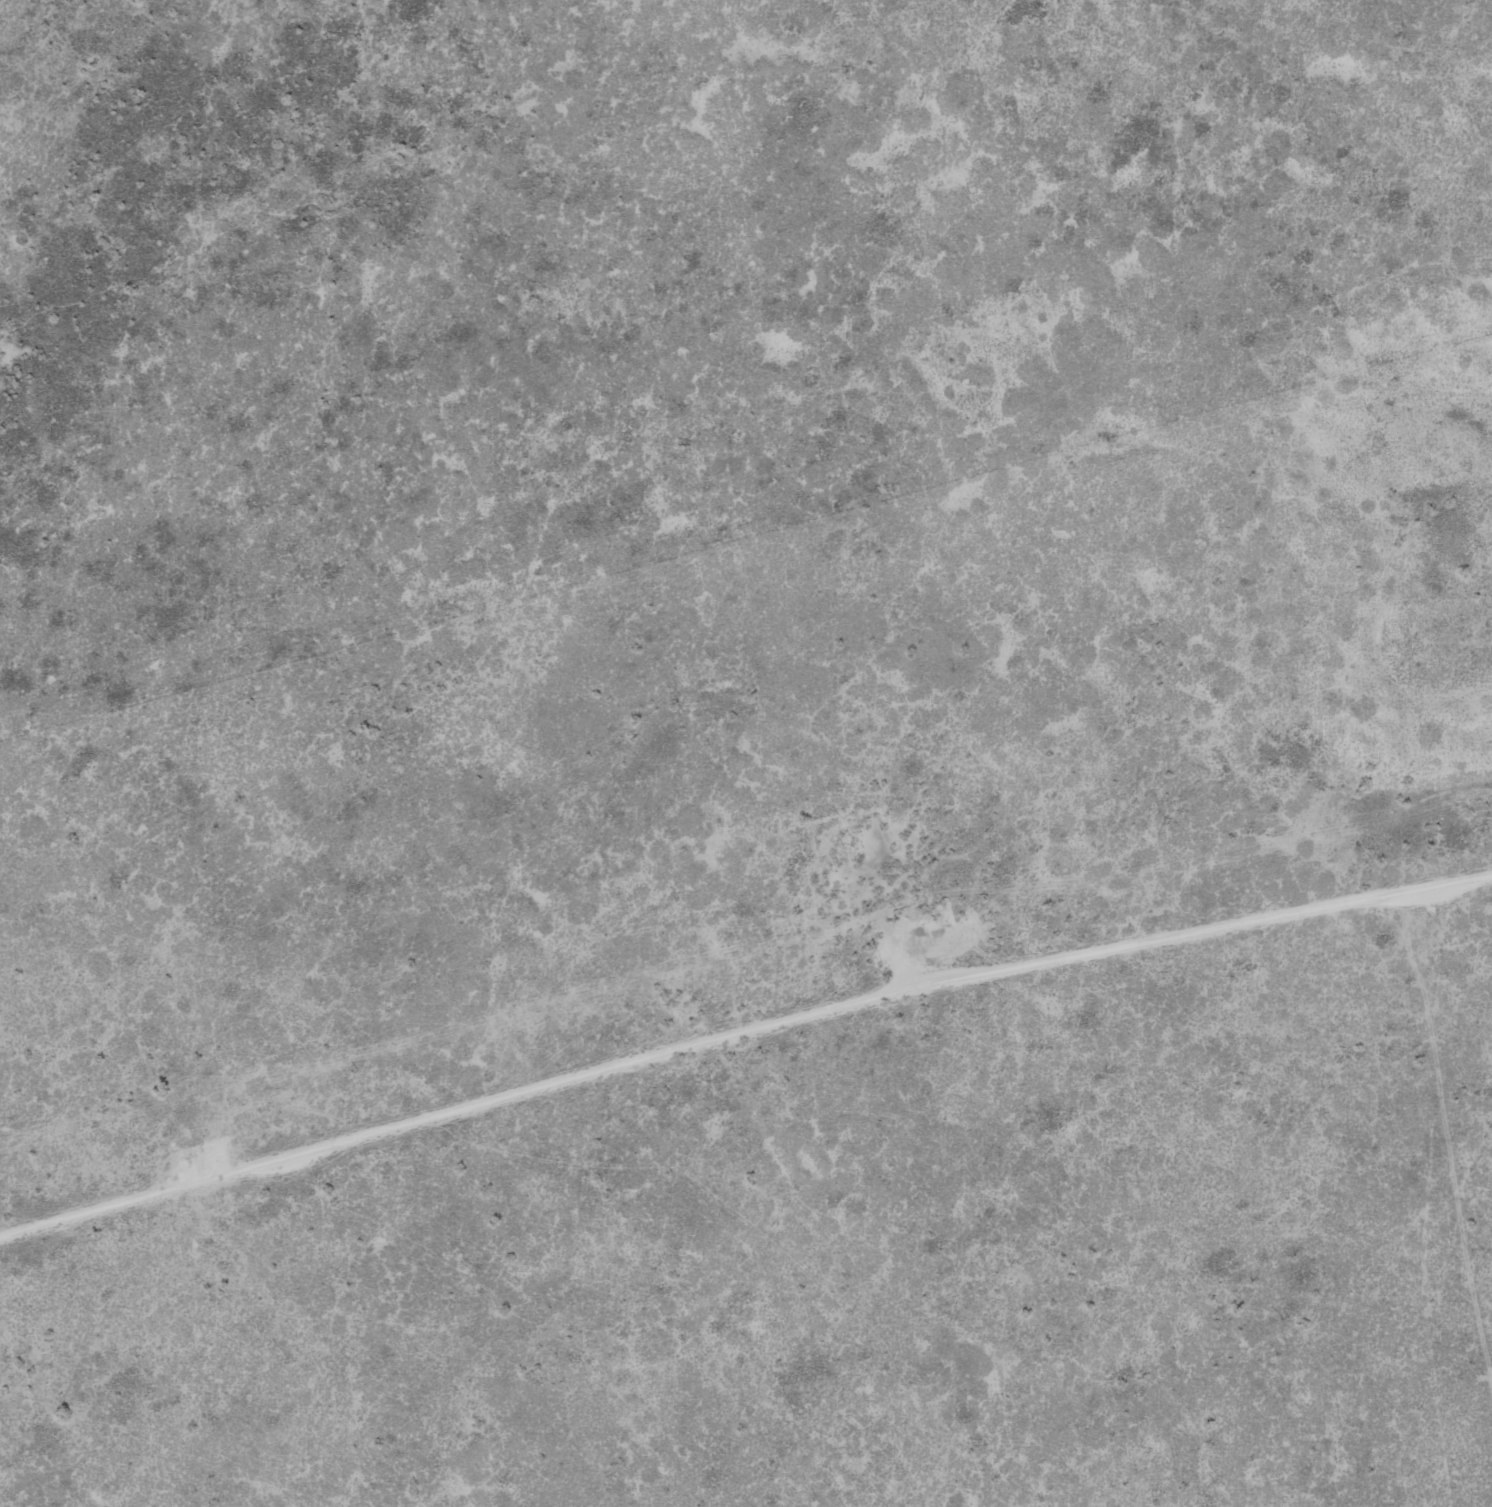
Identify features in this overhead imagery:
road: (441, 1136)

